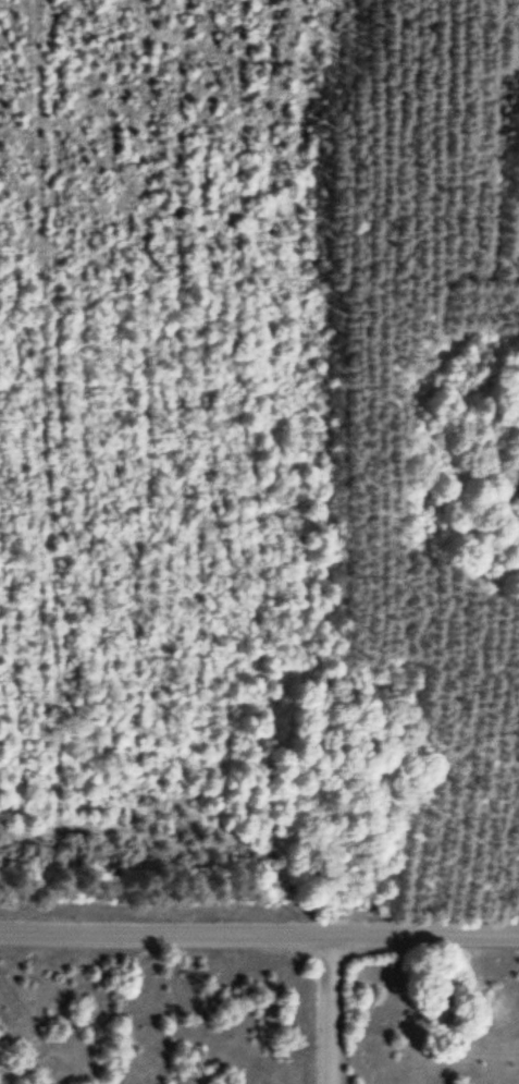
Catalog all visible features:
road: (259, 936)
road: (332, 1010)

